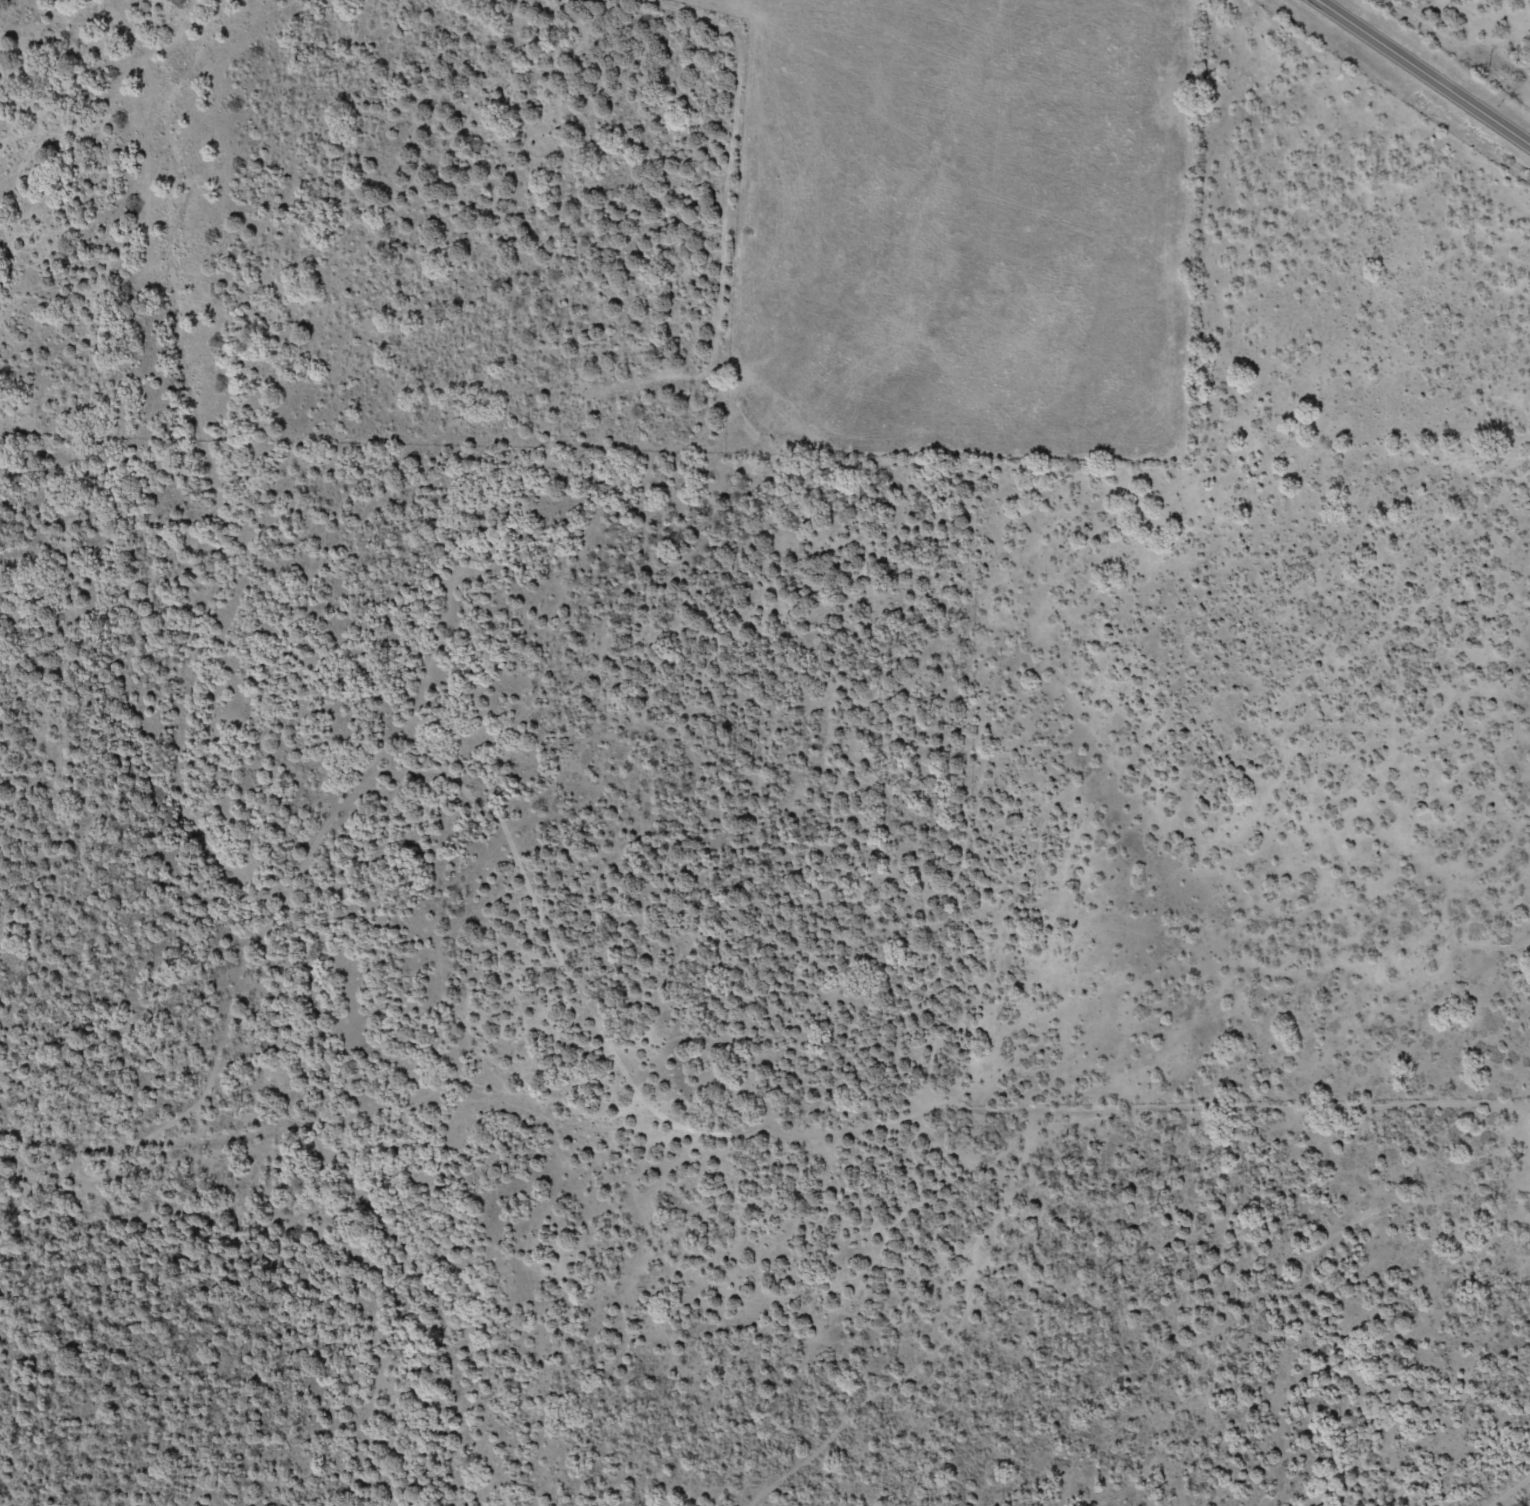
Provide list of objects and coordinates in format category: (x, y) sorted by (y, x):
road: (1422, 73)

